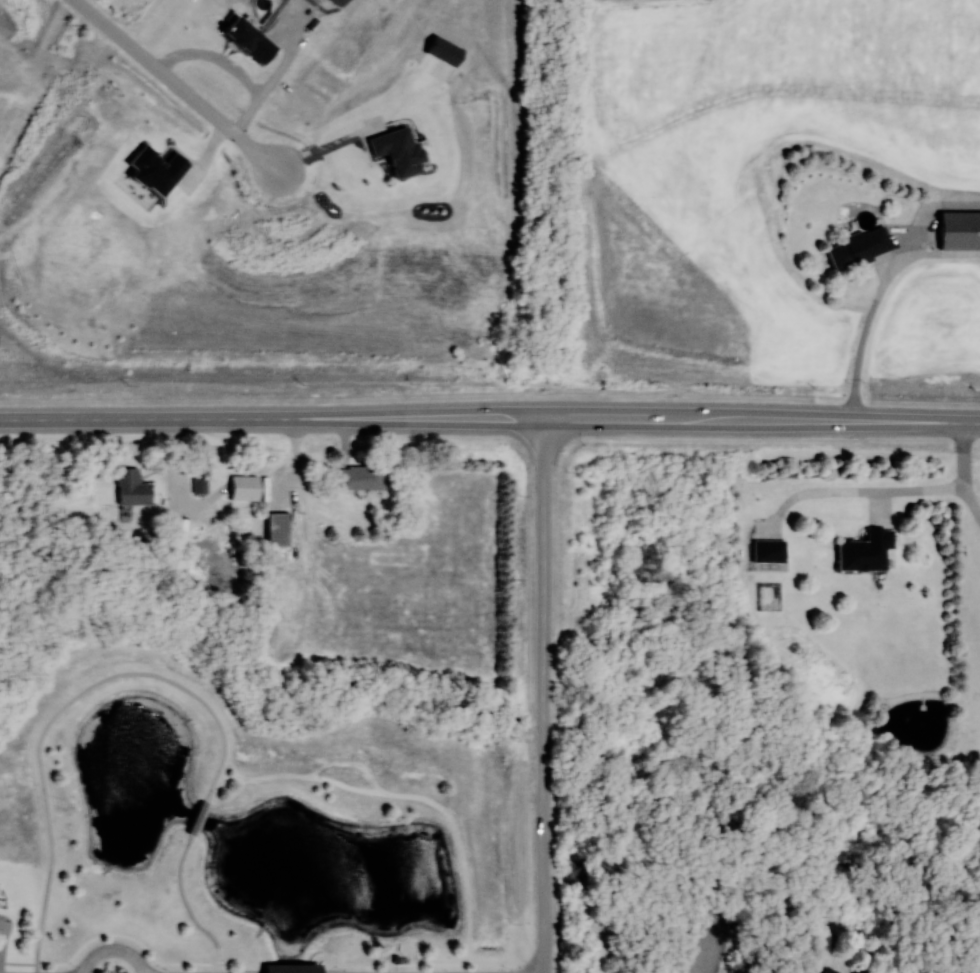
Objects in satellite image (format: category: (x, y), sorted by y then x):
road: (233, 67)
road: (178, 86)
road: (330, 147)
building: (960, 230)
building: (859, 248)
road: (866, 330)
road: (286, 420)
road: (776, 420)
road: (965, 471)
building: (362, 477)
building: (200, 484)
building: (132, 487)
building: (245, 487)
road: (913, 492)
building: (278, 528)
building: (769, 550)
building: (866, 550)
building: (210, 555)
road: (544, 695)
road: (60, 710)
road: (199, 818)
road: (187, 907)
road: (131, 939)
road: (113, 949)
road: (427, 962)
road: (293, 967)
building: (293, 968)
building: (833, 971)

